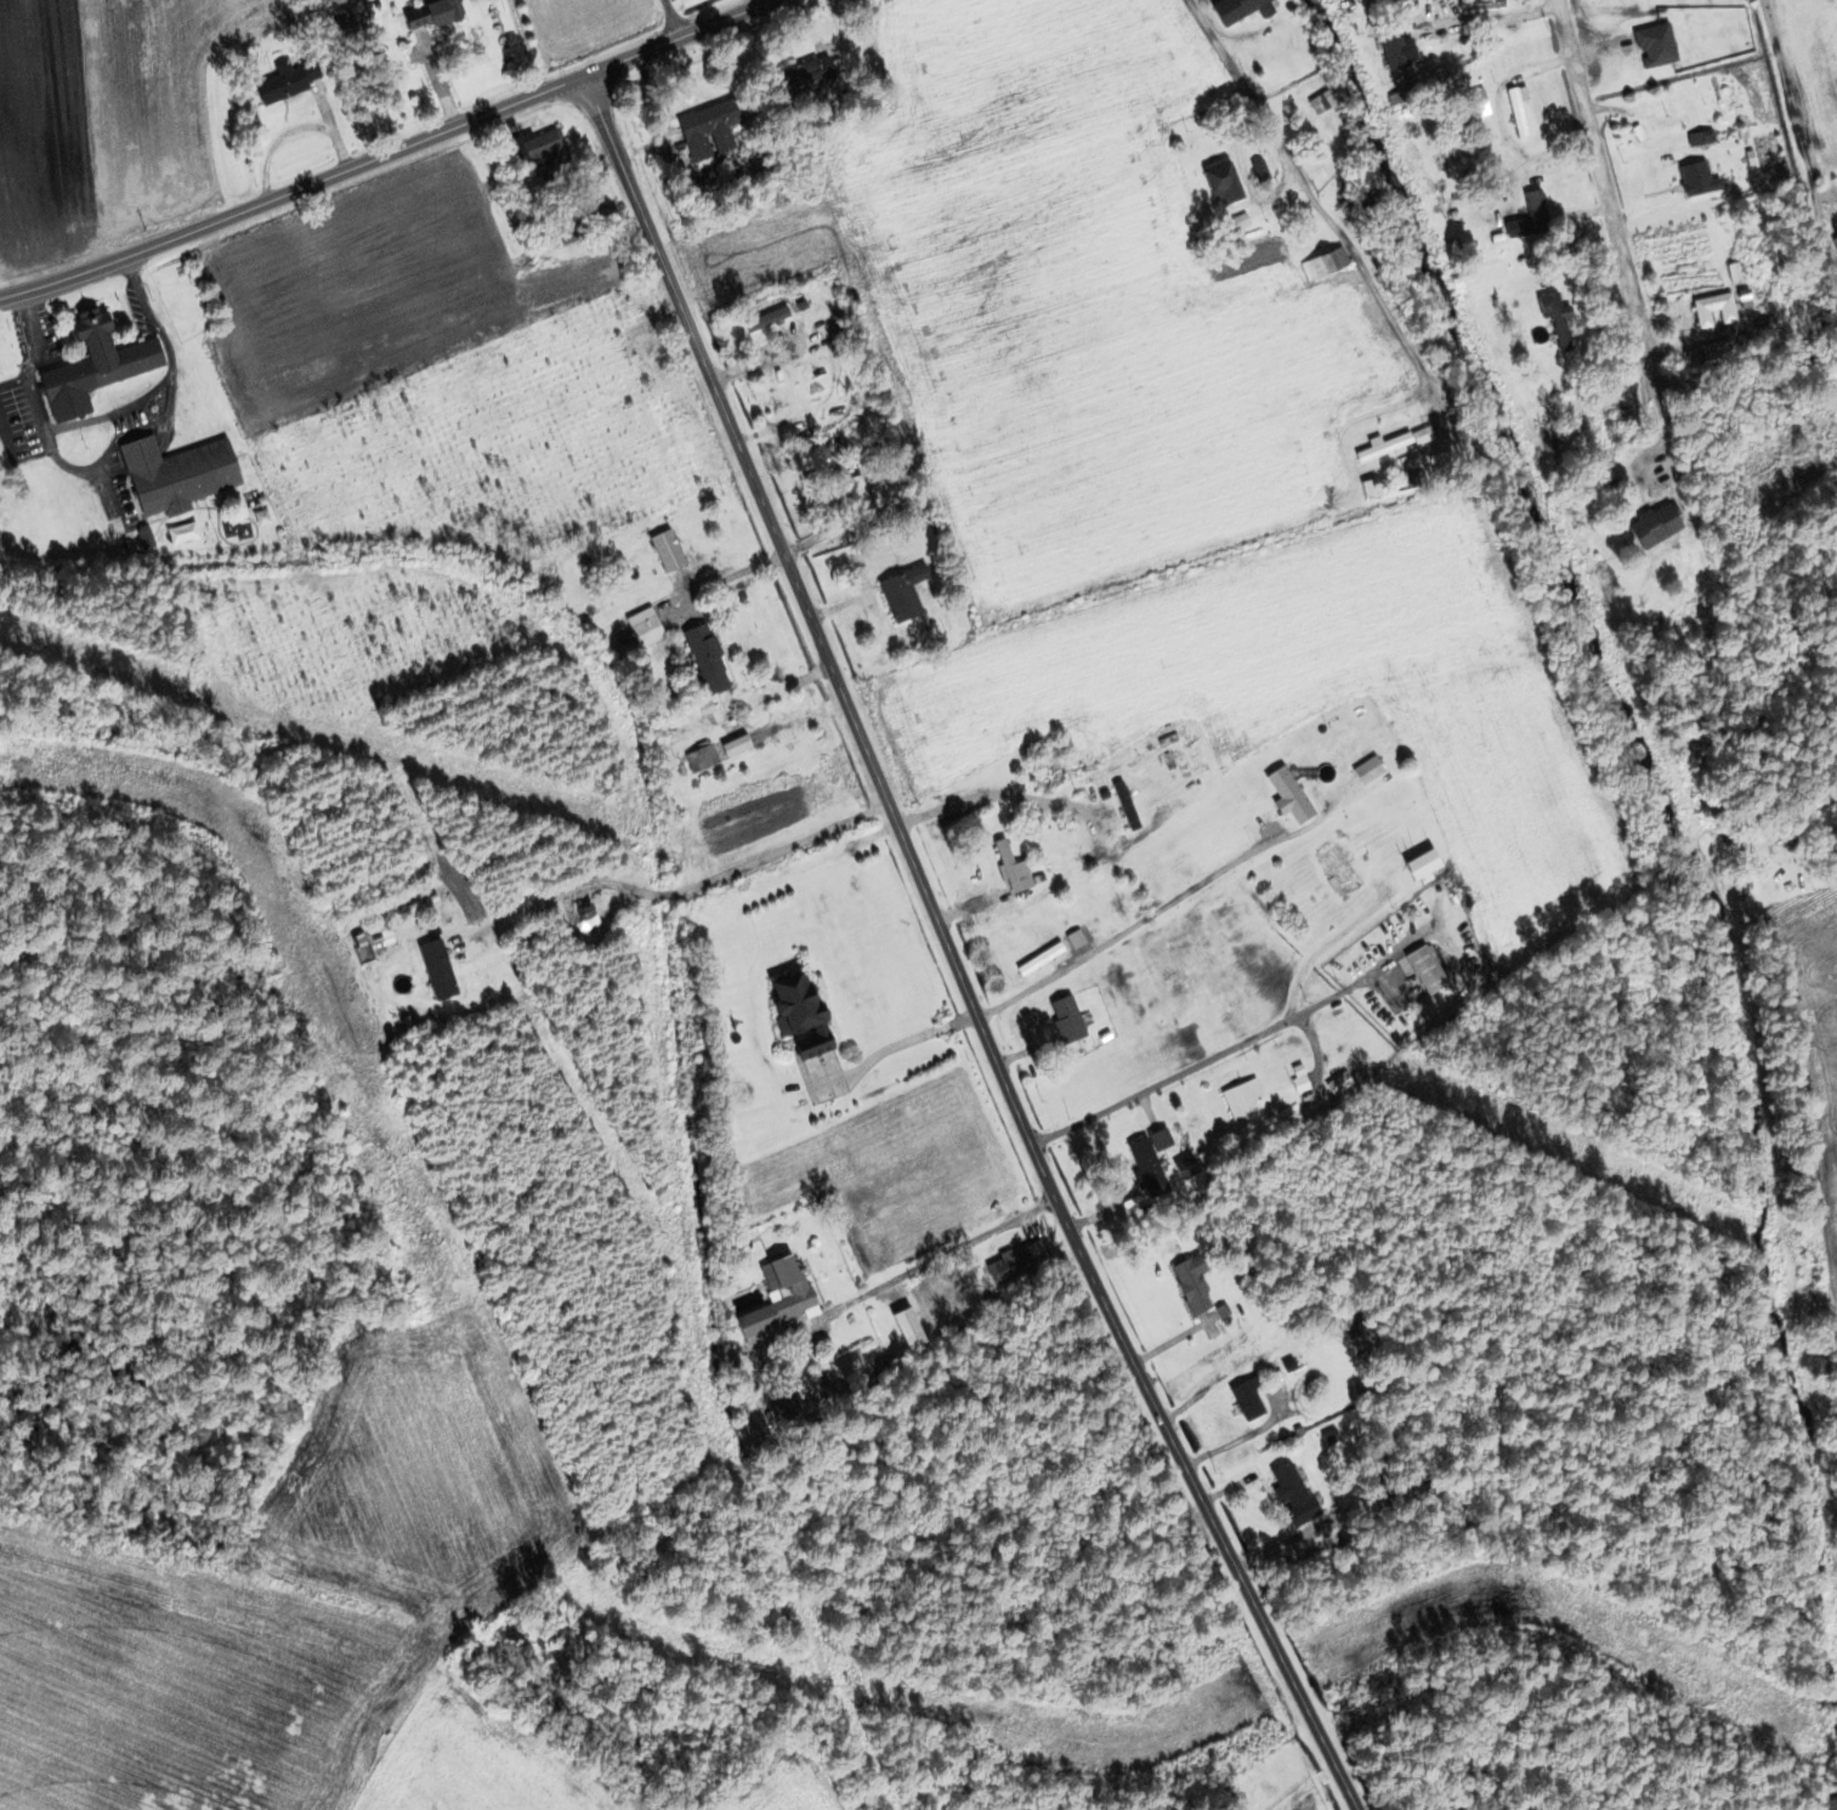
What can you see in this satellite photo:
building: (1479, 5)
building: (1235, 10)
building: (427, 15)
road: (668, 18)
building: (1402, 58)
building: (810, 73)
building: (287, 81)
building: (1322, 103)
building: (1475, 104)
building: (1515, 113)
building: (1666, 125)
building: (707, 130)
building: (1699, 138)
building: (539, 151)
road: (386, 154)
road: (1544, 157)
building: (1219, 182)
road: (1605, 192)
road: (1315, 194)
building: (1535, 211)
building: (569, 227)
building: (1322, 263)
building: (1712, 311)
building: (770, 318)
building: (1555, 319)
building: (1714, 354)
building: (91, 368)
building: (1383, 448)
building: (1435, 461)
building: (174, 476)
building: (855, 494)
building: (1652, 527)
building: (180, 534)
building: (548, 573)
building: (900, 594)
building: (645, 632)
building: (703, 659)
building: (703, 758)
building: (1011, 869)
building: (1337, 870)
road: (682, 884)
building: (582, 917)
road: (1111, 941)
building: (380, 947)
road: (949, 951)
building: (1038, 955)
building: (1423, 971)
building: (446, 980)
building: (795, 1012)
building: (1065, 1021)
road: (1211, 1056)
building: (1241, 1102)
building: (1146, 1164)
road: (932, 1263)
building: (1013, 1263)
building: (1190, 1284)
building: (776, 1298)
building: (1246, 1401)
building: (775, 1417)
building: (1323, 1441)
building: (1291, 1496)

